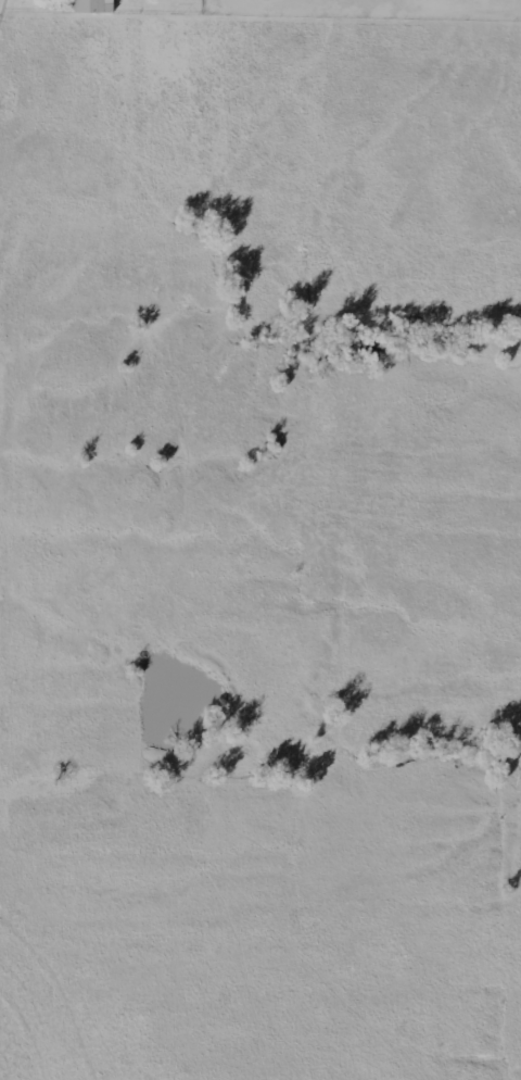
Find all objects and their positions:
building: (94, 7)

